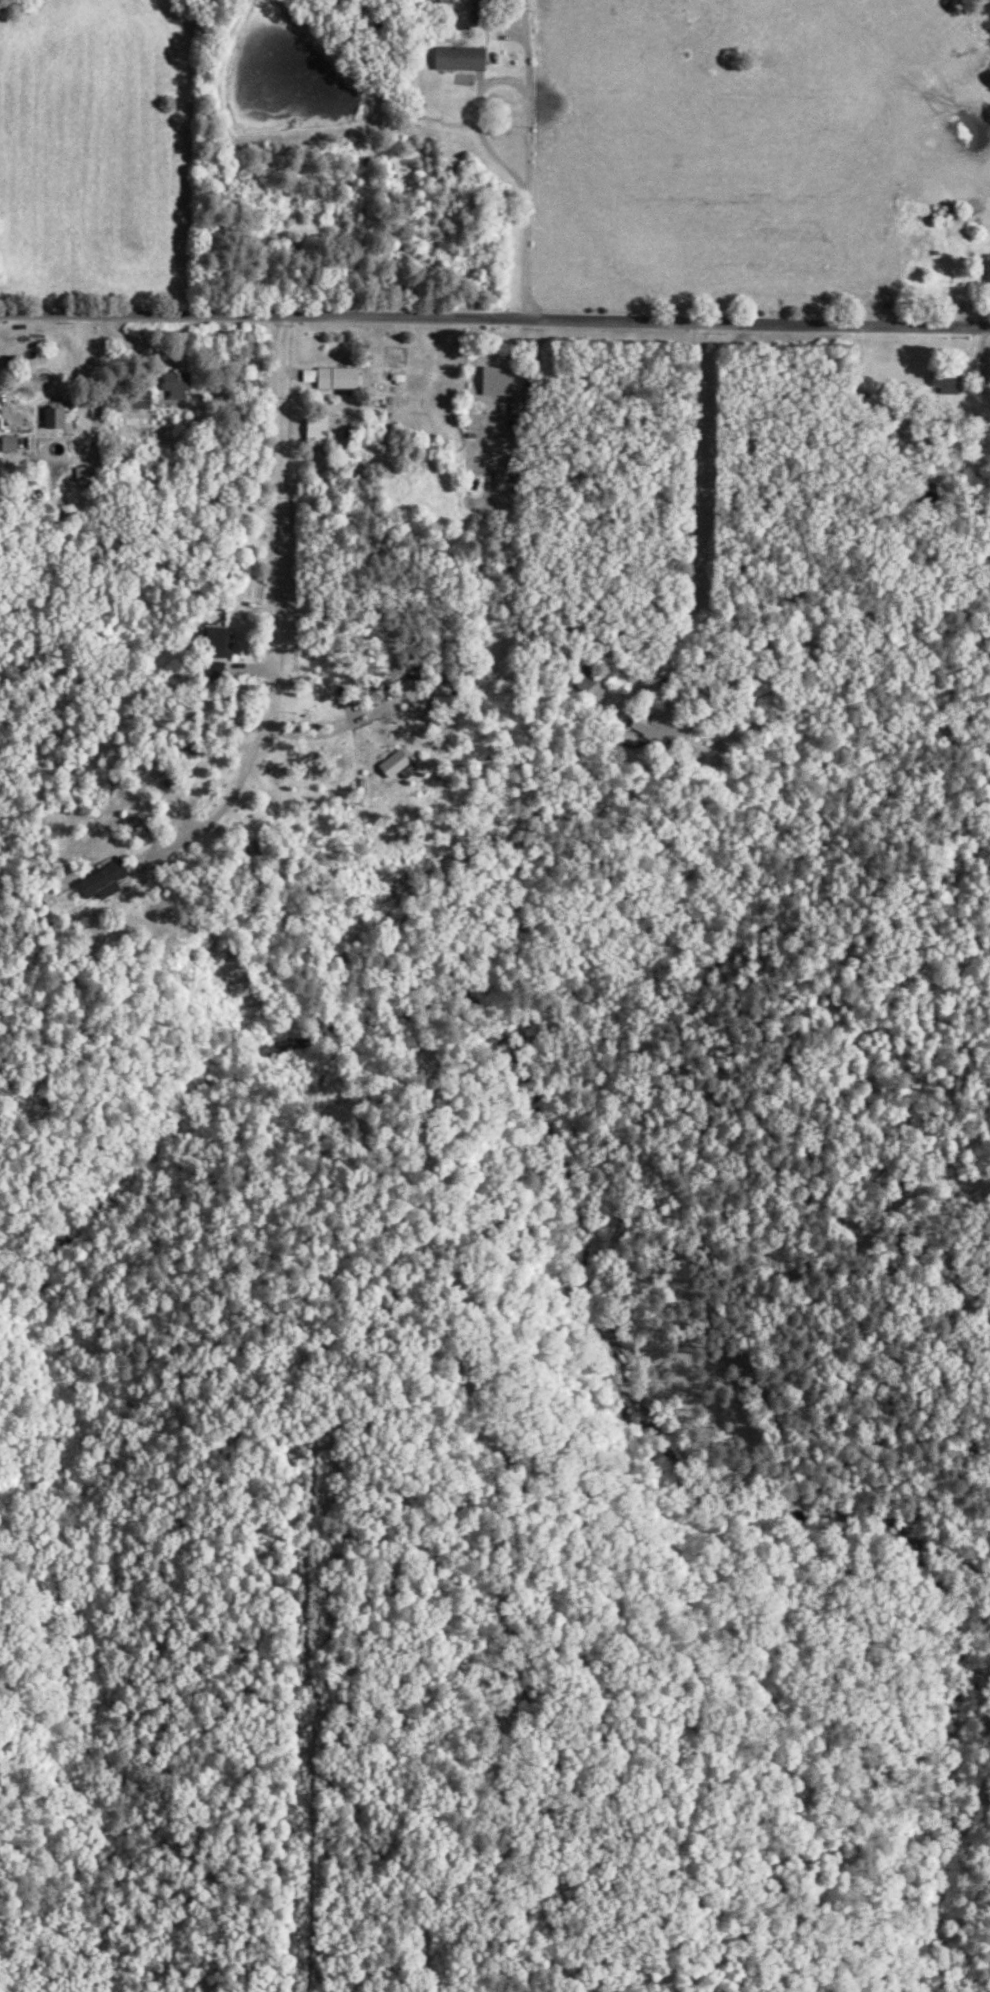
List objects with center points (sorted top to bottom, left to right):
building: (466, 59)
road: (478, 114)
road: (495, 318)
road: (145, 347)
building: (340, 377)
building: (502, 382)
road: (6, 414)
building: (60, 422)
building: (15, 444)
road: (513, 478)
road: (699, 555)
road: (277, 620)
building: (401, 763)
building: (110, 881)

